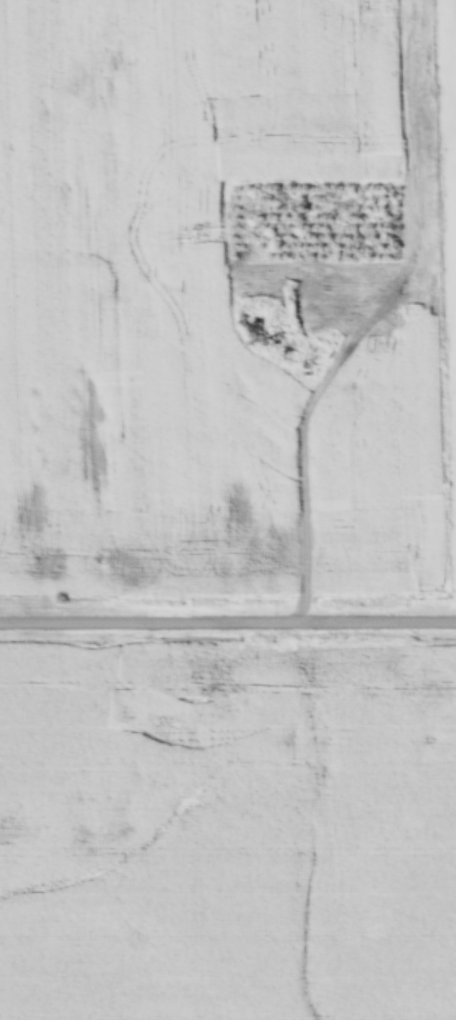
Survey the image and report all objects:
power tower: (184, 238)
road: (228, 620)
power tower: (196, 699)

